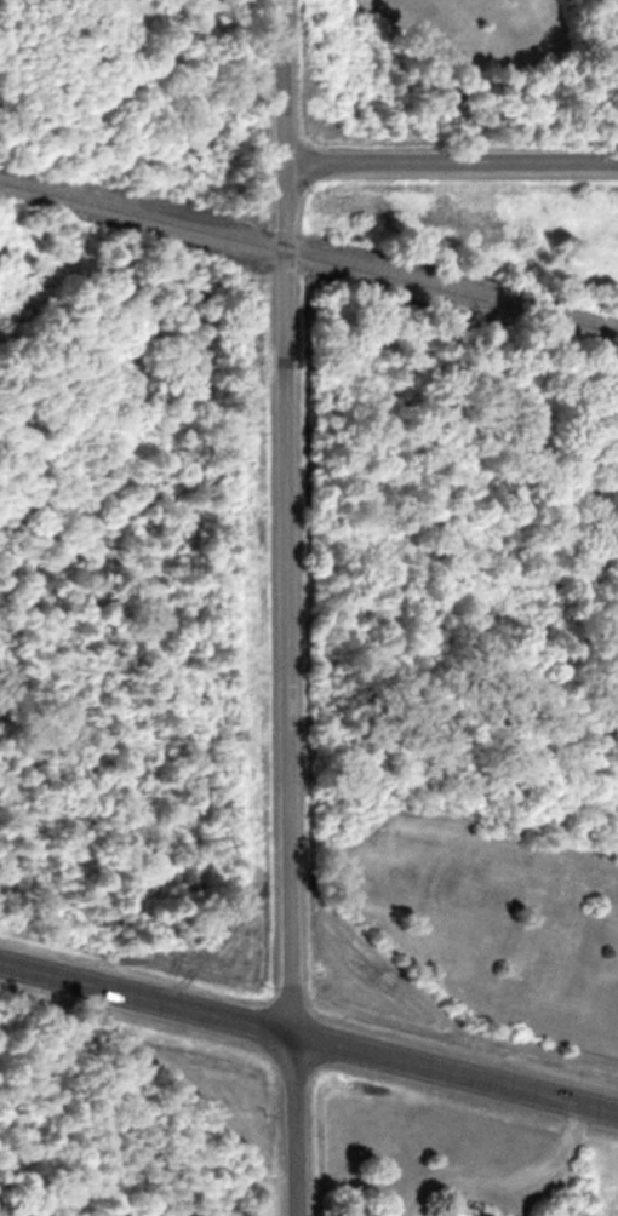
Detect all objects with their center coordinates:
road: (451, 154)
railway: (310, 241)
road: (292, 607)
road: (310, 1026)
road: (503, 1175)
building: (453, 1212)

